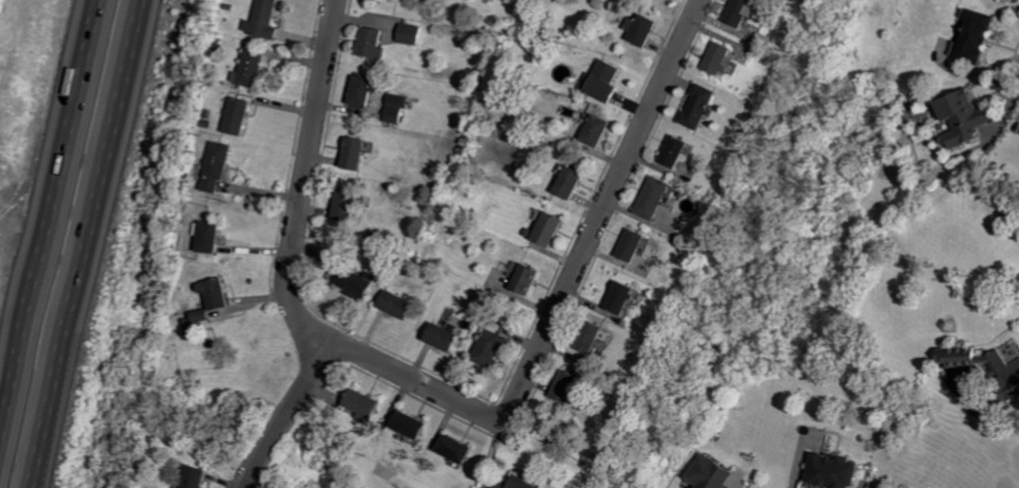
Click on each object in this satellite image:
building: (388, 1)
building: (746, 12)
building: (266, 20)
building: (645, 29)
building: (413, 34)
building: (978, 38)
building: (376, 43)
building: (722, 57)
building: (252, 70)
building: (606, 82)
building: (369, 90)
building: (703, 107)
building: (400, 108)
building: (239, 117)
building: (967, 119)
building: (600, 132)
building: (678, 152)
building: (359, 154)
building: (219, 166)
road: (301, 180)
building: (574, 183)
building: (657, 198)
building: (349, 204)
road: (606, 207)
road: (50, 221)
building: (553, 229)
building: (213, 237)
road: (88, 243)
building: (635, 245)
building: (529, 279)
building: (361, 282)
building: (219, 294)
building: (626, 298)
building: (400, 305)
building: (203, 315)
building: (445, 338)
building: (595, 338)
building: (493, 348)
building: (981, 362)
road: (418, 383)
building: (572, 387)
building: (368, 403)
road: (291, 414)
building: (413, 425)
building: (459, 449)
building: (836, 471)
building: (714, 473)
building: (201, 476)
building: (527, 483)
road: (739, 484)

